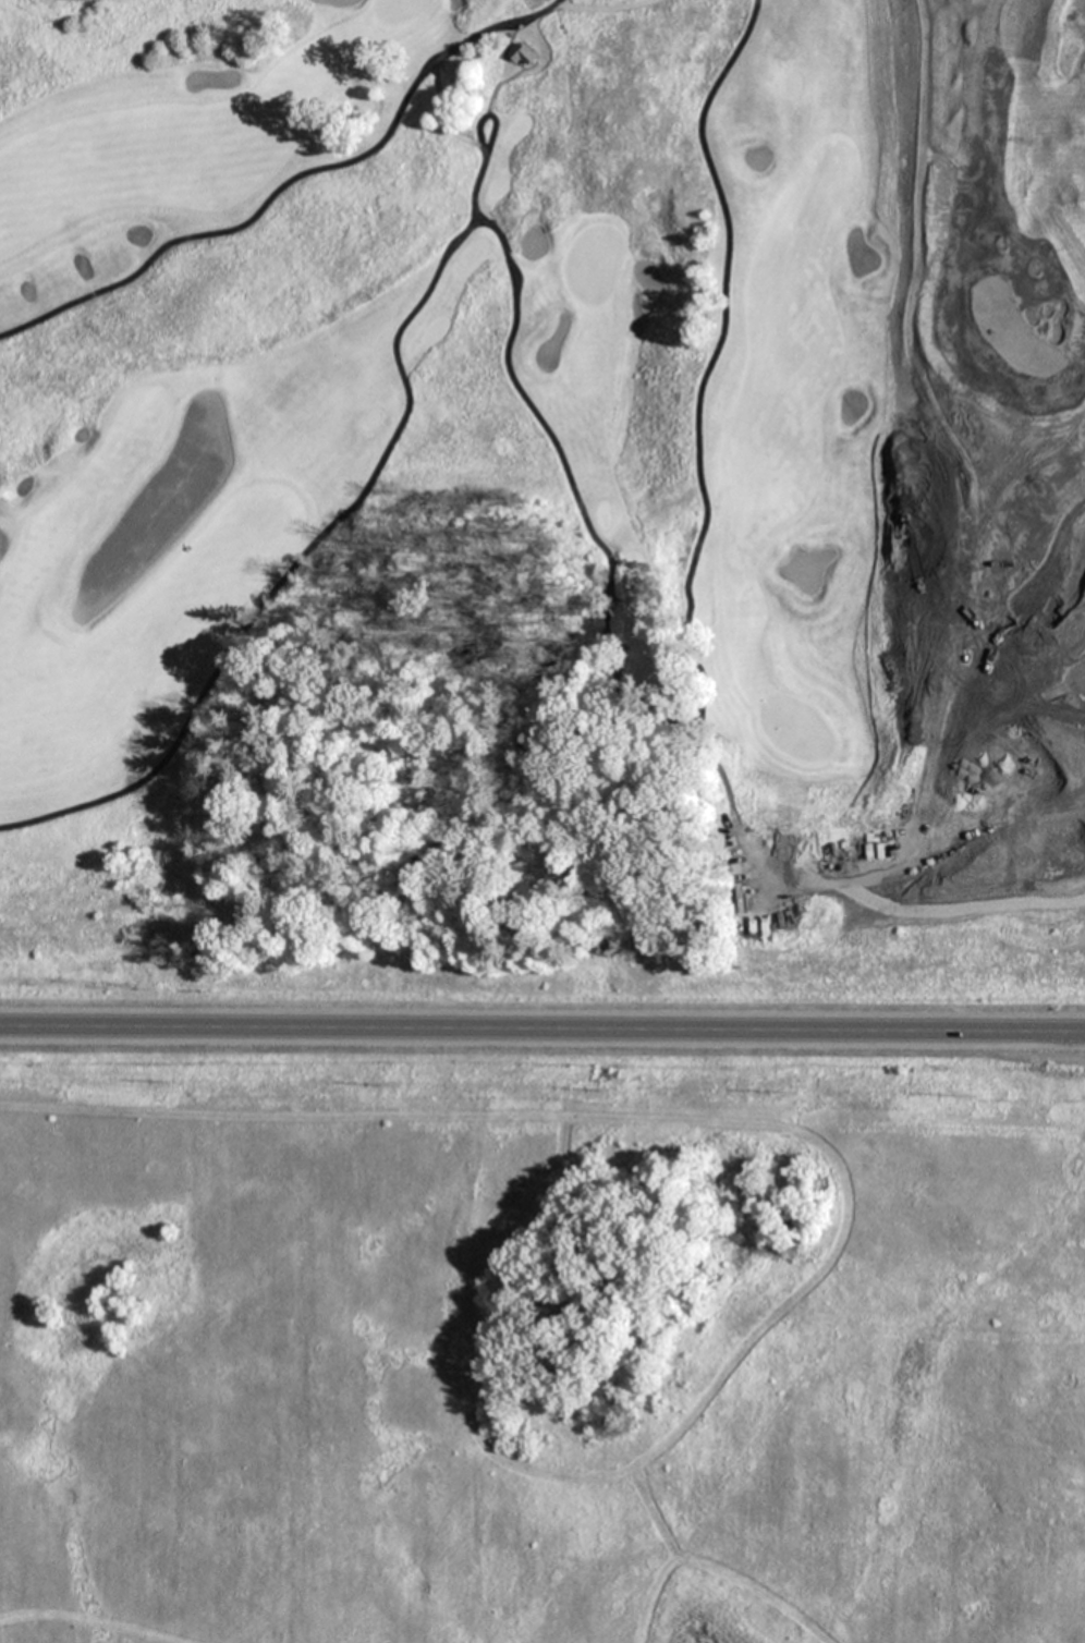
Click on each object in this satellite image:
building: (524, 54)
road: (479, 136)
road: (291, 181)
road: (556, 453)
park: (542, 508)
road: (542, 1029)
crop: (541, 1340)

